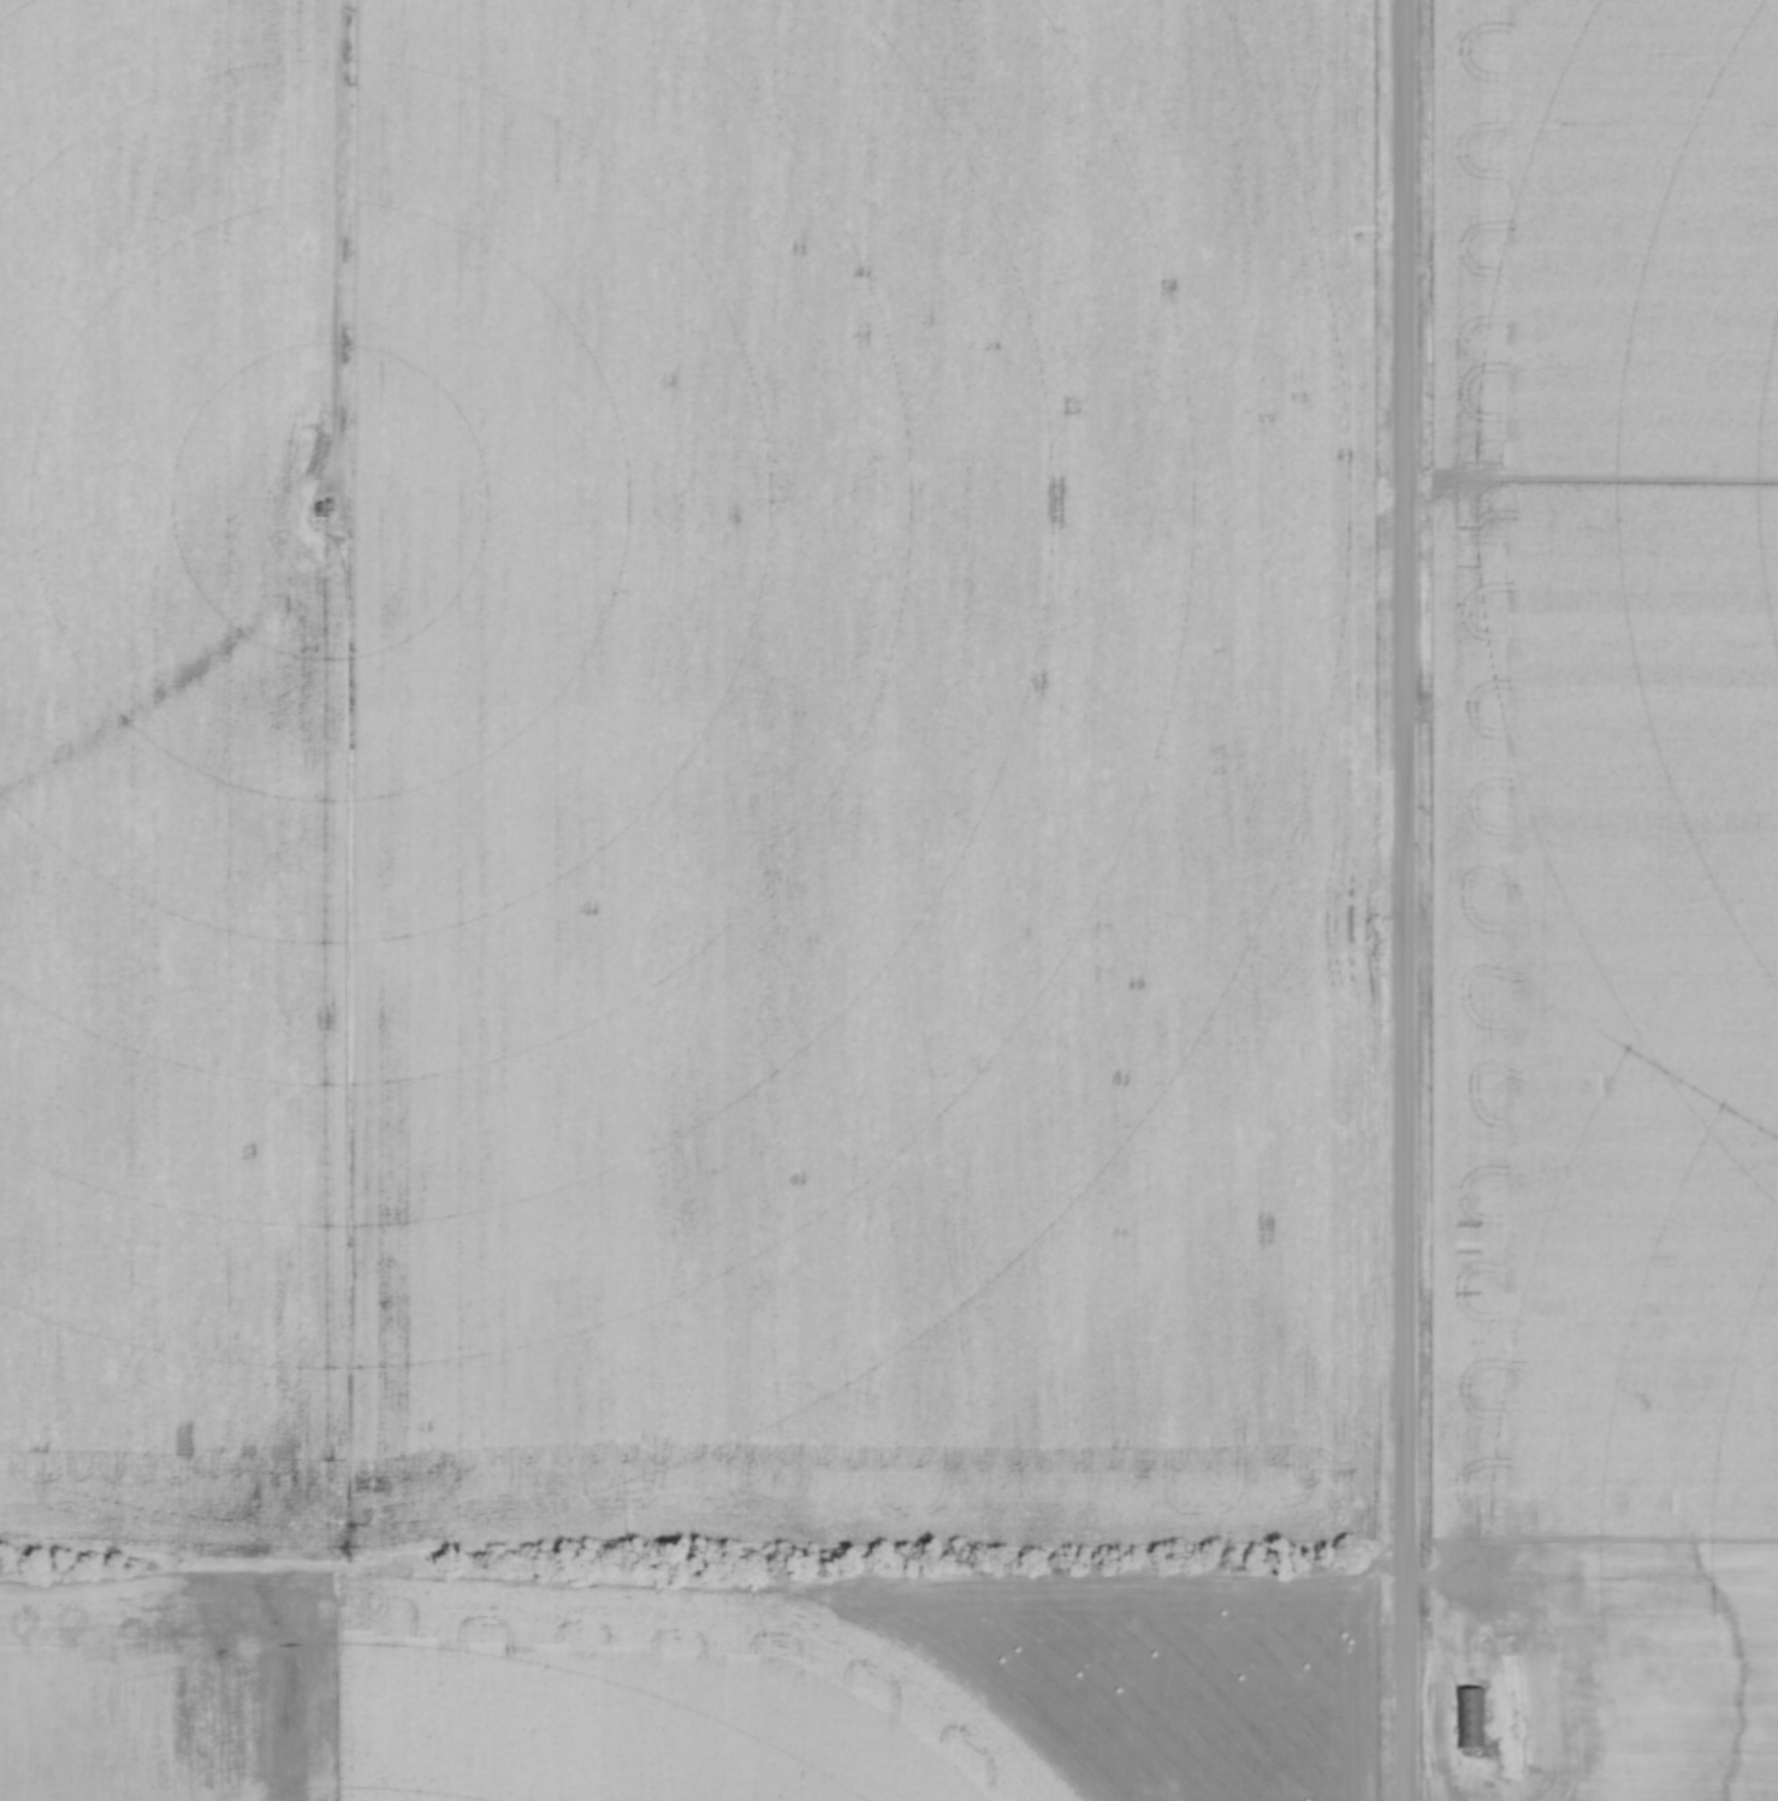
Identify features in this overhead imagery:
road: (1404, 900)
road: (1470, 1576)
building: (1468, 1718)

